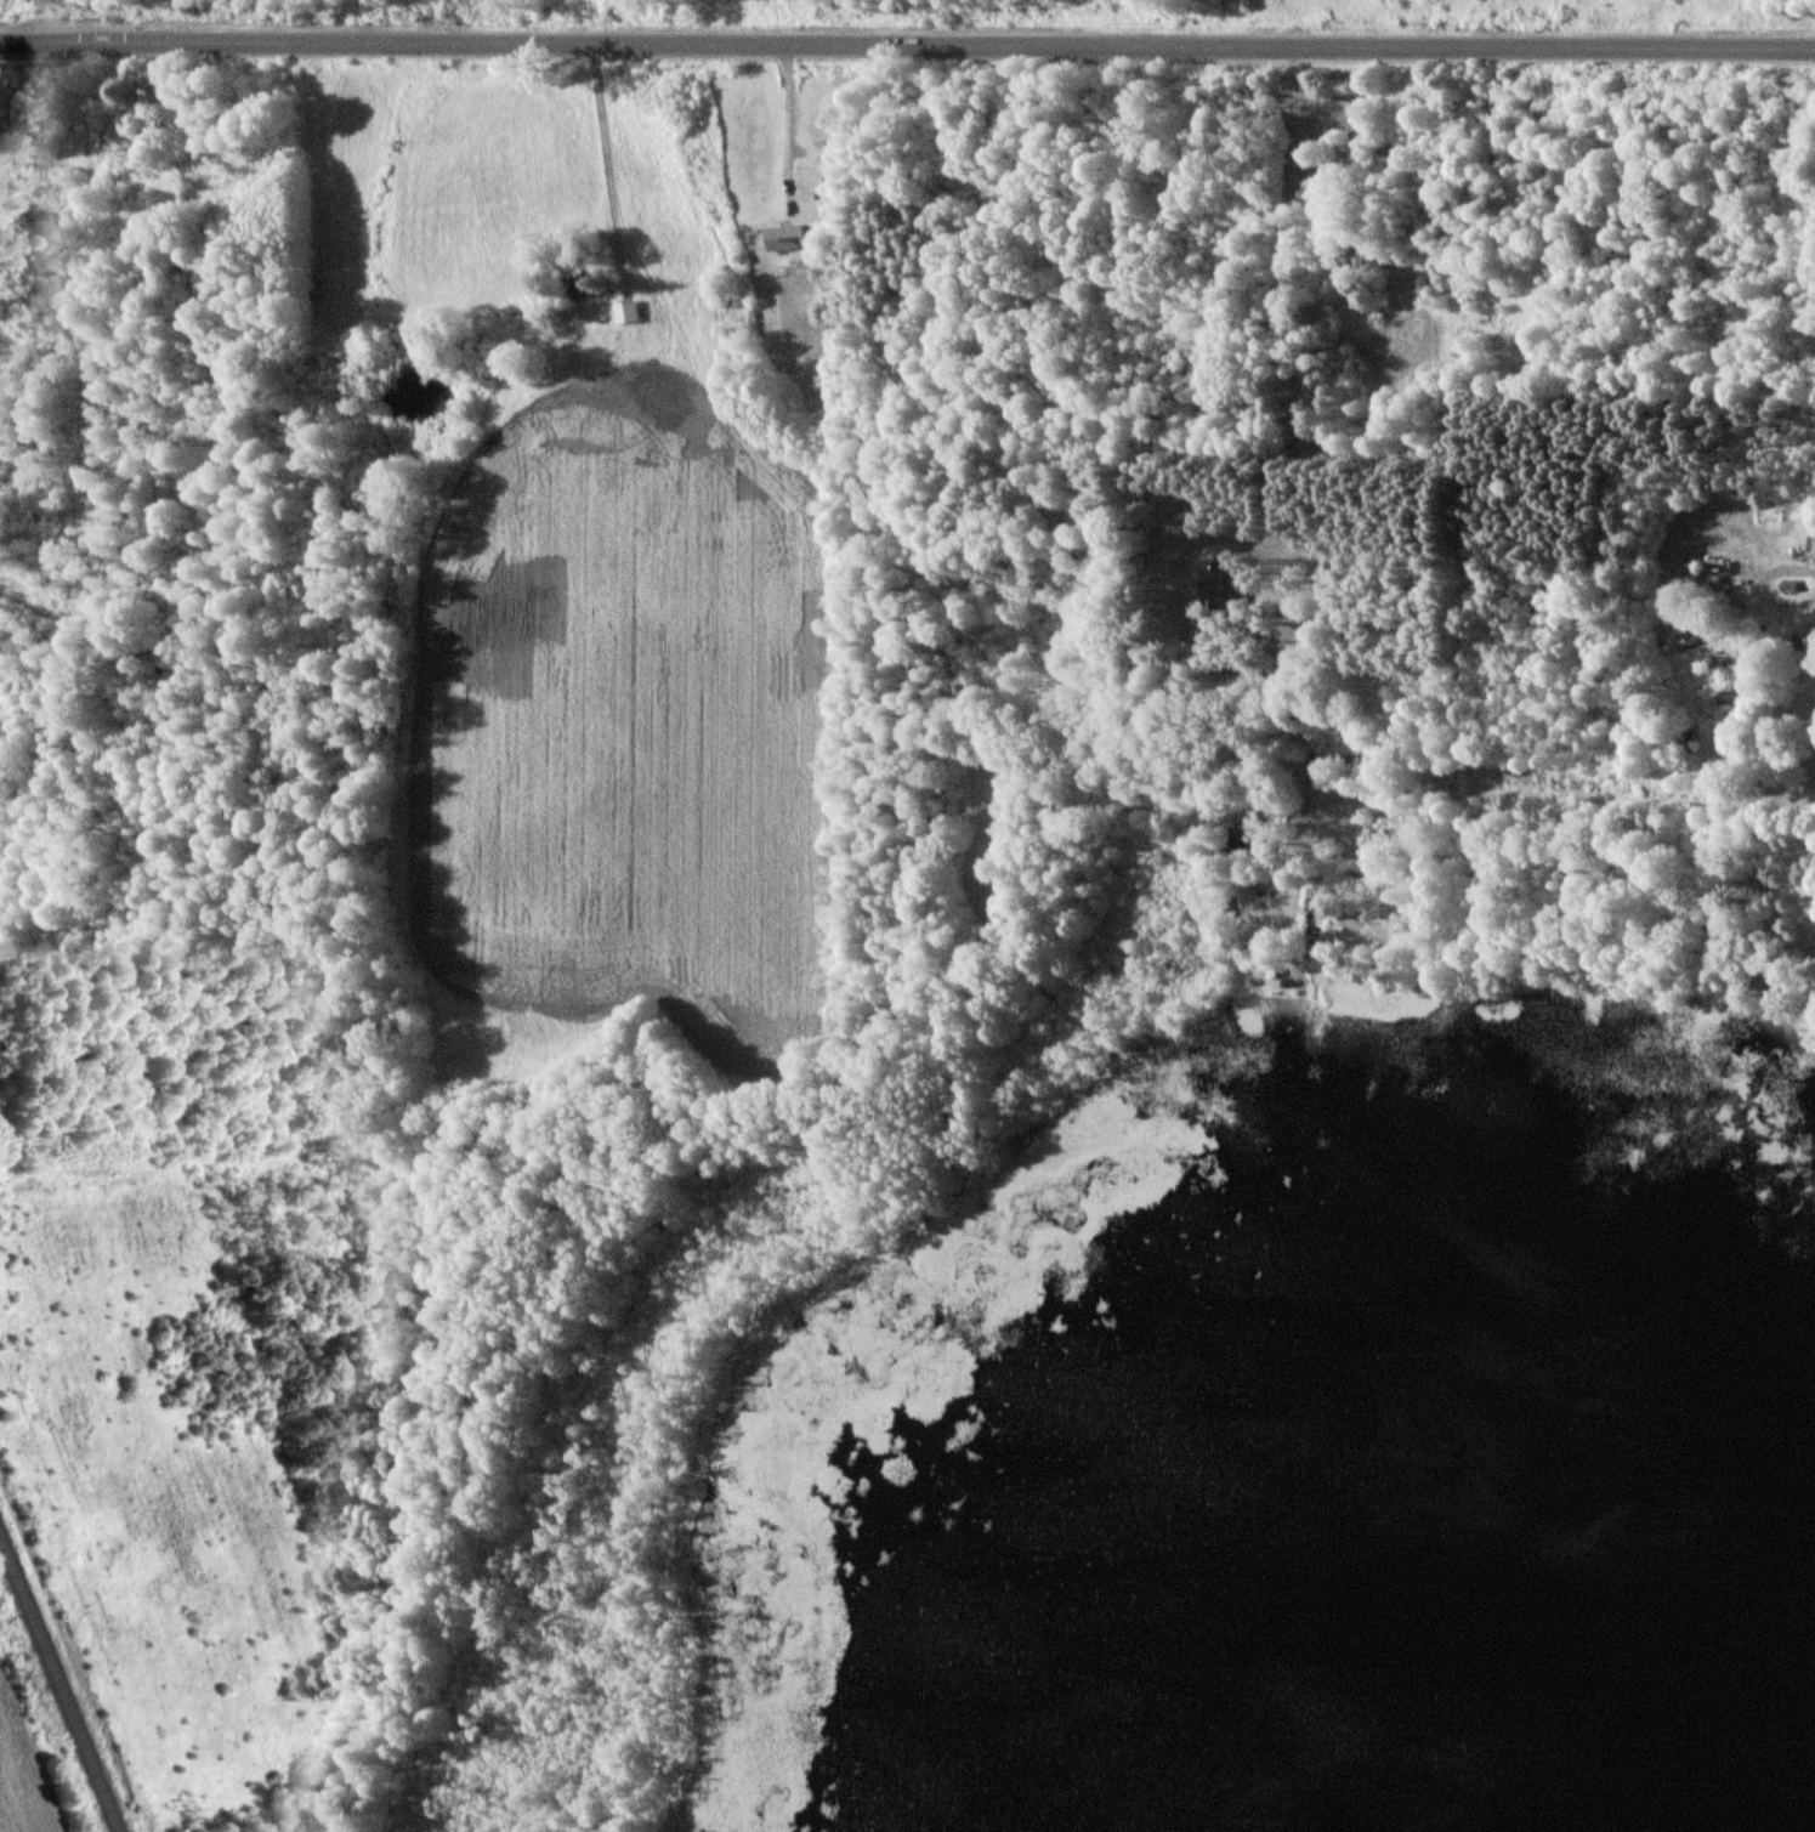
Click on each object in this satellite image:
road: (907, 47)
road: (794, 120)
road: (611, 164)
building: (787, 238)
building: (633, 311)
road: (1292, 467)
building: (1210, 585)
railway: (23, 1583)
railway: (85, 1737)

